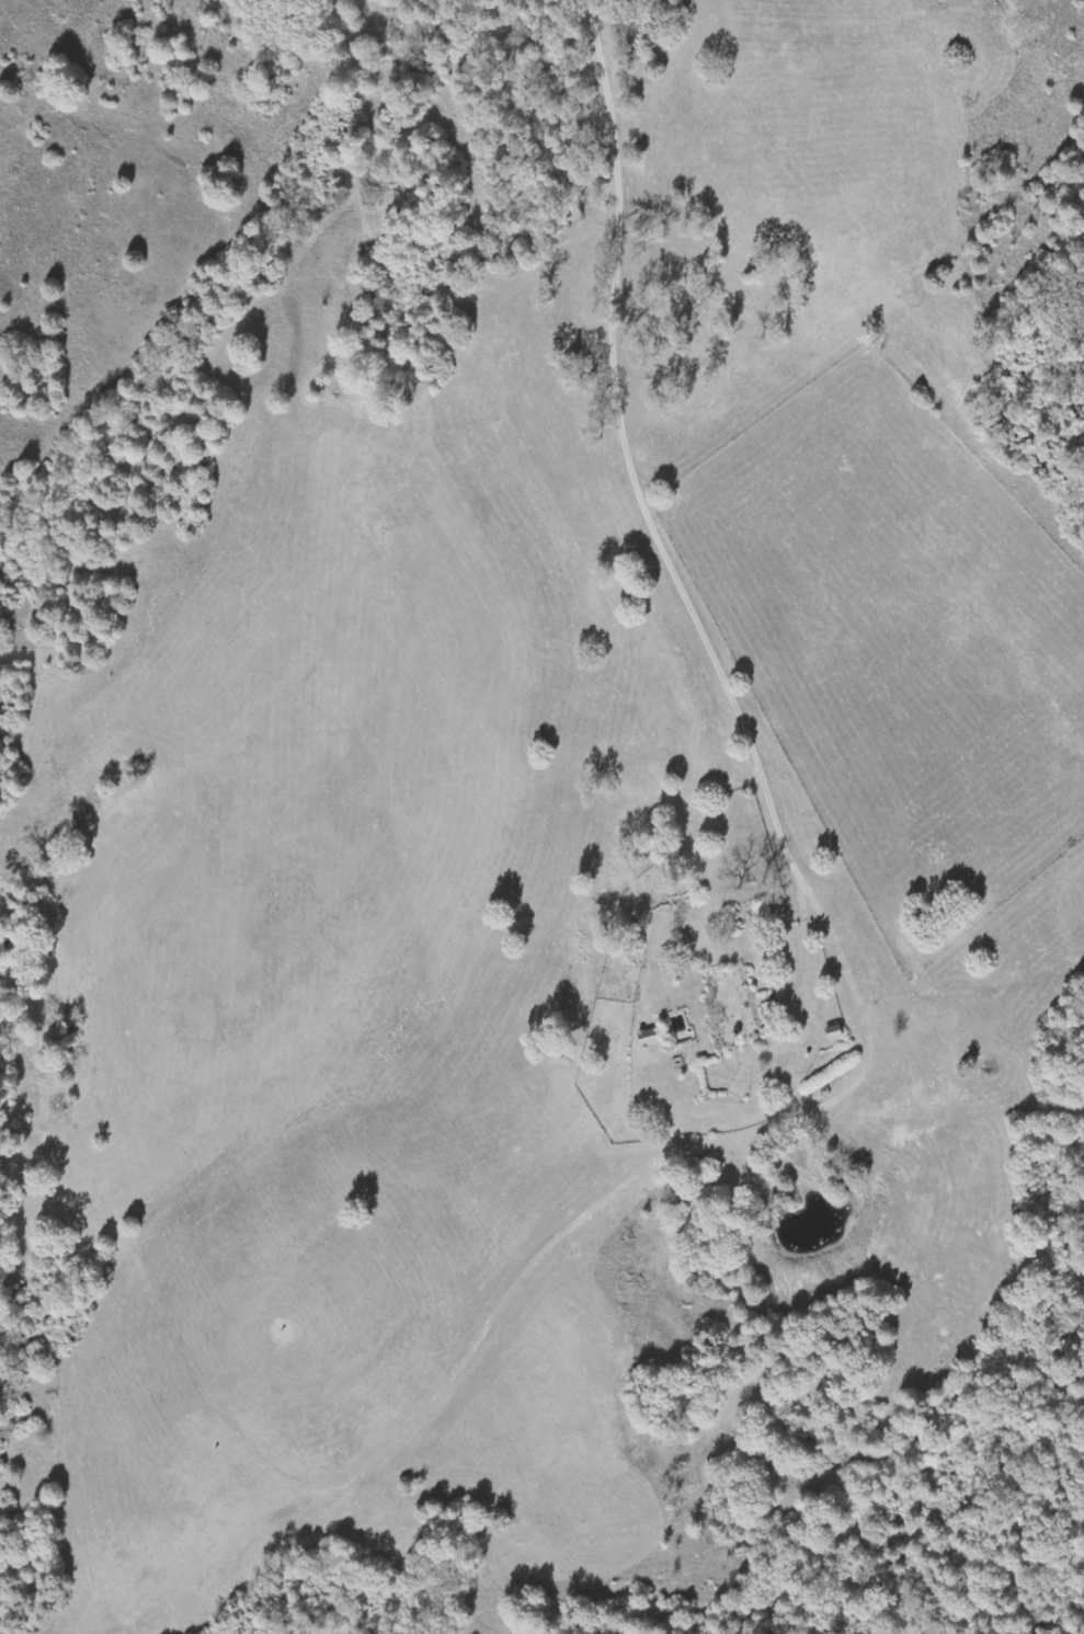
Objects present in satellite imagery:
road: (764, 911)

